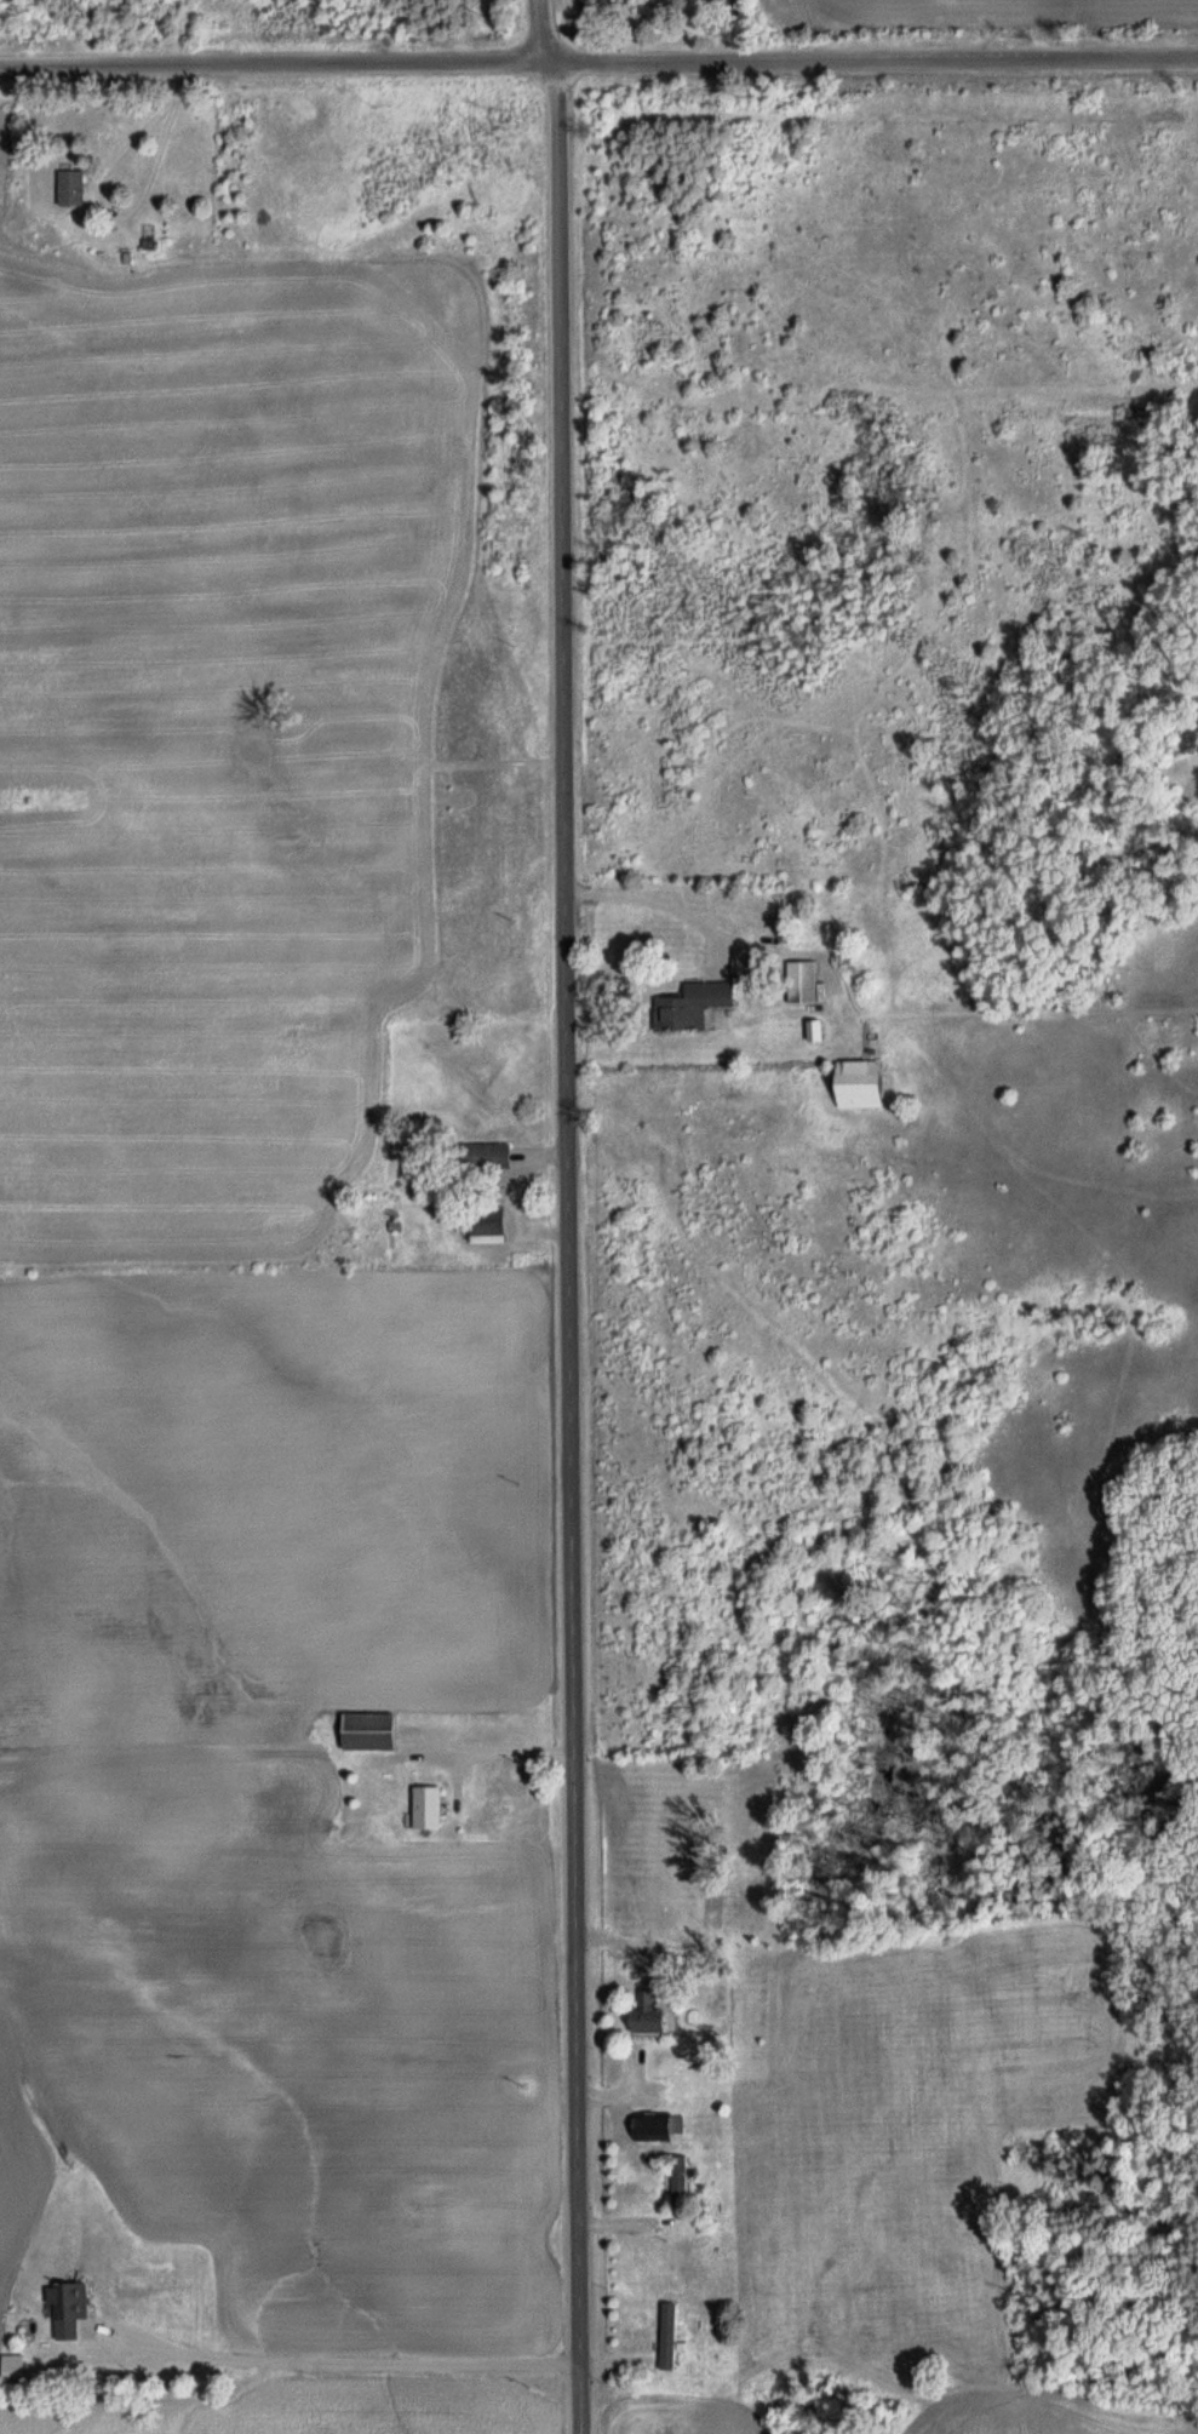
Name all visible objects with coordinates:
building: (598, 5)
road: (543, 29)
road: (598, 59)
building: (74, 189)
building: (804, 983)
building: (694, 1006)
building: (862, 1086)
building: (485, 1157)
building: (489, 1225)
road: (567, 1245)
building: (371, 1734)
building: (429, 1810)
building: (653, 2018)
building: (655, 2130)
building: (73, 2312)
building: (670, 2337)
road: (338, 2359)

